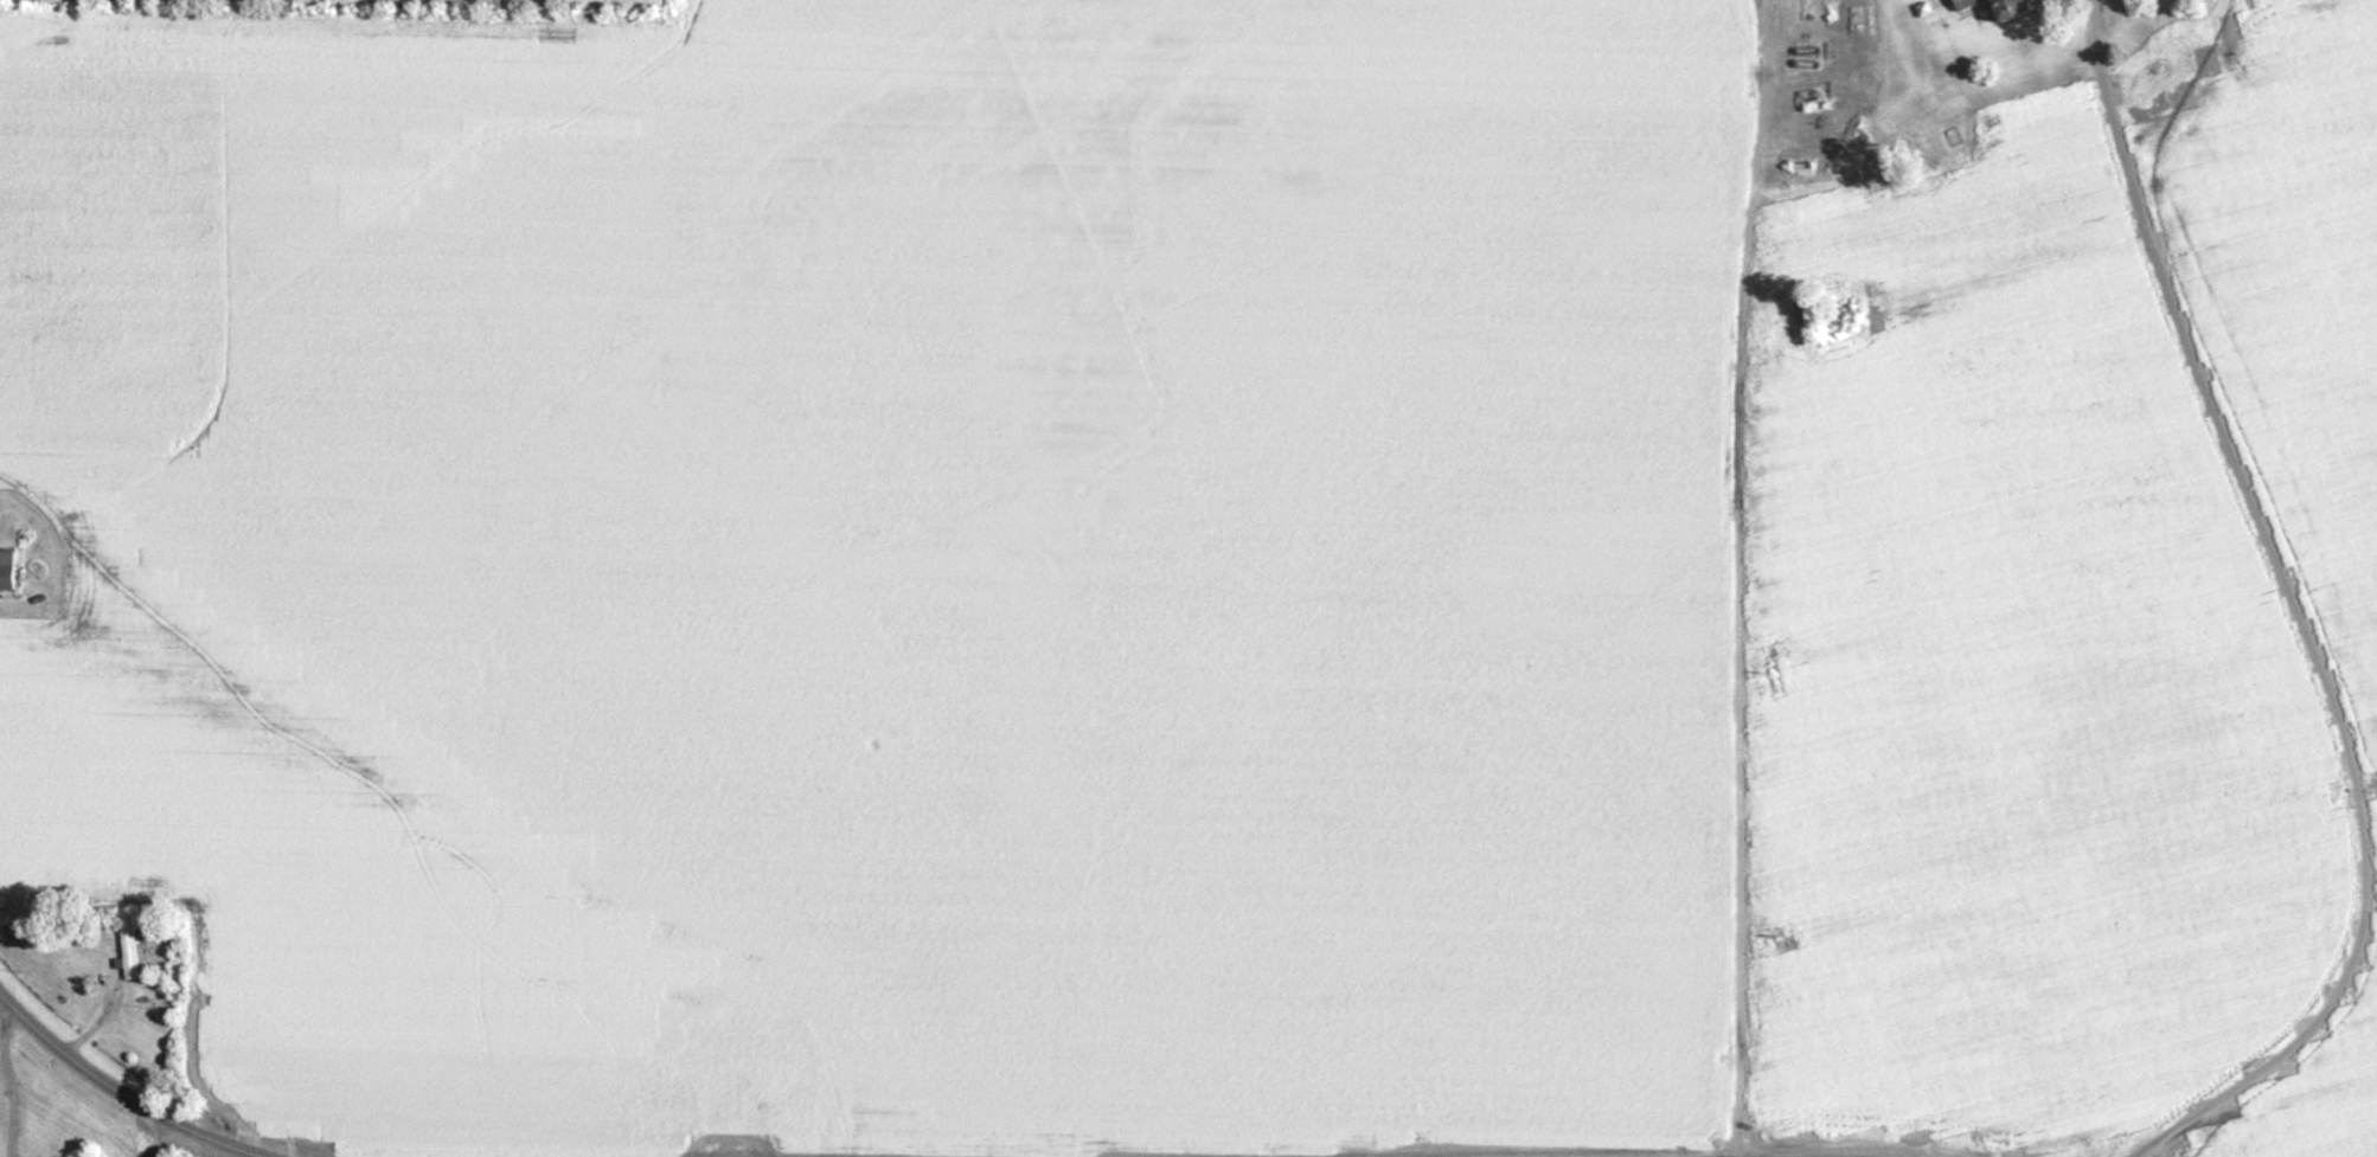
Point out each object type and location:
building: (1998, 8)
road: (1749, 578)
building: (6, 579)
road: (2286, 613)
road: (8, 1086)
road: (111, 1093)
road: (164, 1143)

